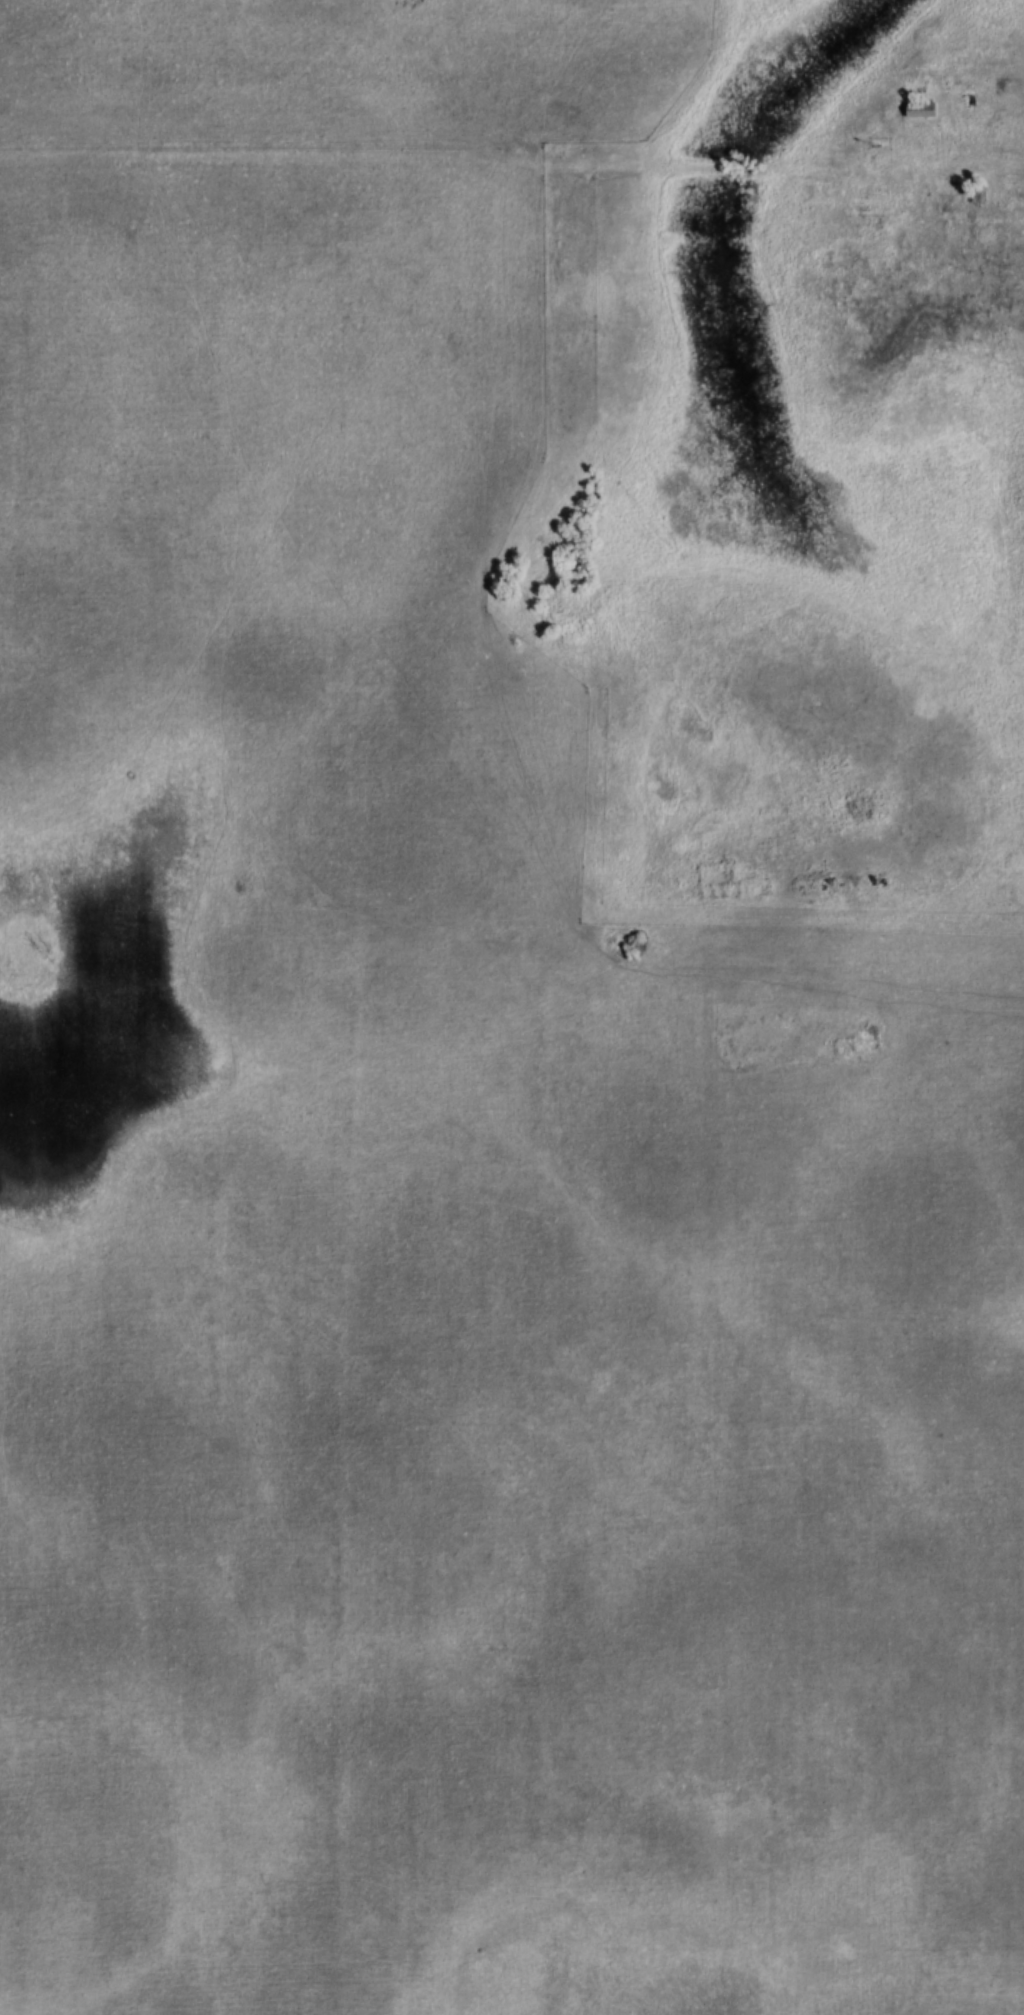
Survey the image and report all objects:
building: (919, 109)

